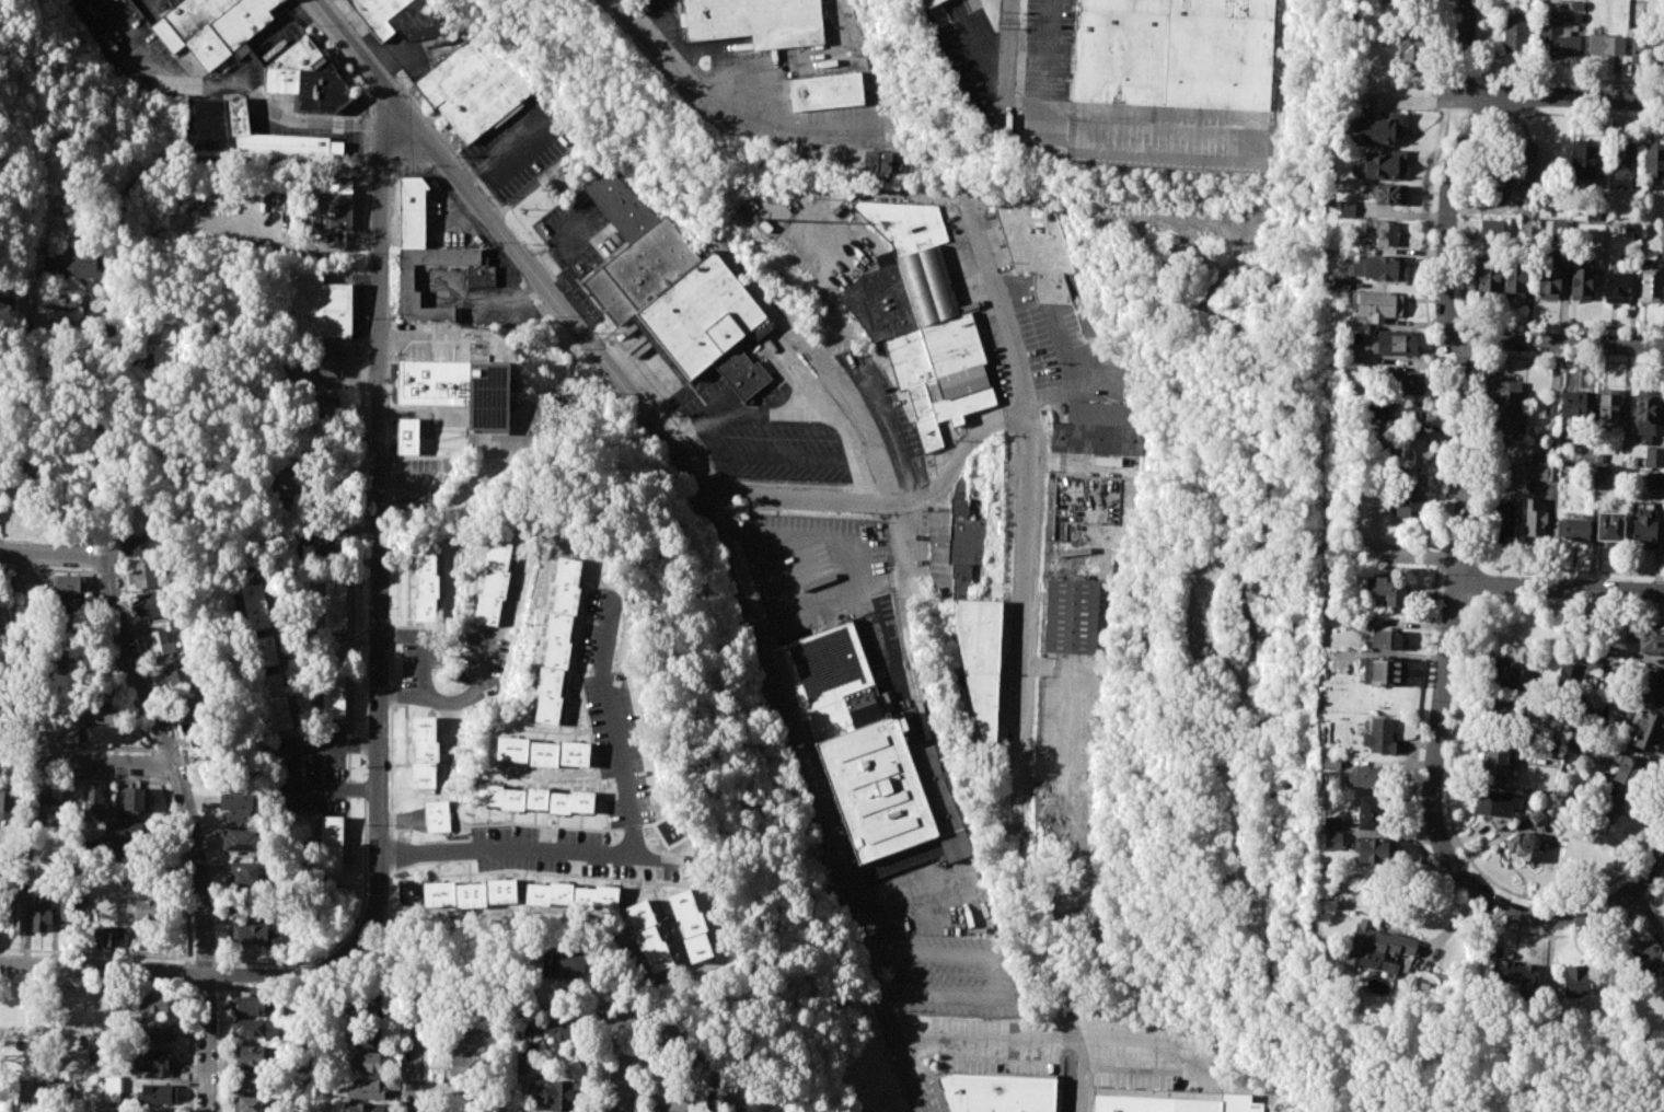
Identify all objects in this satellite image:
building: (934, 2)
building: (1578, 4)
building: (407, 18)
building: (1578, 18)
building: (758, 22)
building: (212, 26)
building: (1514, 32)
building: (1558, 38)
road: (1466, 43)
building: (1606, 44)
building: (1641, 44)
building: (1651, 47)
building: (1411, 50)
building: (1172, 51)
building: (1663, 59)
road: (1009, 63)
building: (307, 79)
road: (229, 83)
building: (473, 83)
building: (827, 92)
road: (1564, 99)
road: (1026, 101)
road: (1419, 101)
road: (1056, 111)
road: (728, 113)
road: (1481, 119)
building: (1376, 129)
building: (243, 131)
parking lot: (522, 146)
road: (510, 153)
building: (1584, 159)
building: (877, 160)
building: (1654, 160)
building: (1524, 163)
building: (1623, 163)
road: (251, 164)
building: (1384, 164)
building: (1495, 182)
road: (879, 190)
building: (1390, 195)
building: (332, 208)
building: (1347, 208)
building: (1523, 210)
building: (1595, 210)
road: (1402, 215)
building: (1491, 227)
building: (1387, 231)
road: (1463, 231)
building: (1631, 232)
building: (1661, 232)
building: (1037, 251)
building: (427, 253)
building: (71, 265)
building: (1380, 267)
building: (1488, 276)
building: (1514, 277)
road: (115, 278)
building: (1549, 279)
building: (1341, 282)
building: (1581, 283)
building: (1650, 285)
building: (1616, 287)
building: (675, 291)
building: (55, 302)
building: (1377, 304)
building: (319, 310)
building: (920, 320)
road: (1468, 320)
road: (1468, 339)
building: (1397, 343)
building: (163, 344)
road: (1557, 345)
road: (1479, 361)
building: (327, 368)
building: (1407, 382)
building: (461, 385)
building: (322, 404)
building: (1607, 404)
building: (1575, 405)
building: (1507, 407)
building: (1646, 412)
road: (796, 413)
building: (1407, 415)
road: (698, 422)
building: (1622, 428)
building: (1094, 429)
road: (707, 441)
building: (407, 455)
building: (1413, 455)
building: (1654, 456)
road: (785, 459)
building: (1636, 461)
road: (1483, 463)
road: (380, 472)
building: (1540, 472)
building: (1597, 476)
road: (860, 479)
building: (1654, 480)
building: (288, 485)
road: (881, 502)
building: (1410, 506)
road: (701, 509)
road: (1029, 513)
building: (1534, 518)
building: (1502, 520)
building: (1610, 526)
building: (1573, 528)
building: (1644, 531)
road: (1593, 538)
building: (1663, 541)
road: (1660, 544)
building: (142, 545)
building: (955, 546)
building: (317, 547)
road: (1318, 551)
road: (53, 557)
road: (1419, 557)
road: (1475, 558)
road: (1455, 565)
building: (145, 575)
building: (494, 582)
road: (1467, 582)
building: (24, 583)
building: (67, 584)
building: (426, 586)
road: (1560, 589)
building: (1389, 591)
building: (255, 600)
building: (335, 603)
road: (1560, 603)
building: (150, 604)
building: (69, 606)
building: (1072, 615)
building: (176, 625)
road: (1451, 630)
building: (1651, 638)
building: (558, 639)
building: (1387, 641)
building: (161, 644)
road: (425, 647)
building: (266, 650)
road: (1390, 655)
road: (1637, 655)
building: (981, 660)
building: (62, 663)
building: (1383, 671)
building: (177, 672)
building: (1505, 672)
building: (1572, 672)
building: (1651, 686)
building: (335, 690)
building: (96, 694)
building: (277, 702)
road: (454, 702)
building: (5, 713)
building: (99, 715)
building: (1500, 717)
building: (1584, 719)
building: (1650, 731)
building: (101, 734)
building: (1383, 737)
building: (1575, 741)
road: (1225, 746)
building: (1552, 750)
building: (425, 751)
building: (542, 752)
building: (873, 758)
road: (88, 763)
building: (1494, 763)
road: (291, 764)
building: (1630, 771)
building: (1364, 776)
building: (1564, 797)
building: (533, 799)
building: (94, 801)
building: (136, 801)
building: (1498, 802)
building: (238, 804)
building: (1605, 804)
building: (5, 806)
building: (43, 807)
building: (1372, 811)
building: (438, 815)
building: (1538, 815)
building: (1332, 822)
road: (189, 829)
building: (126, 833)
building: (241, 841)
building: (1333, 841)
building: (332, 844)
building: (1524, 846)
building: (1375, 849)
road: (1425, 853)
road: (634, 855)
road: (1467, 856)
road: (652, 857)
building: (26, 871)
building: (250, 874)
road: (902, 882)
building: (409, 893)
building: (471, 893)
building: (573, 895)
building: (70, 905)
building: (141, 910)
building: (43, 912)
road: (1648, 914)
building: (20, 917)
building: (692, 925)
road: (345, 933)
building: (109, 935)
building: (255, 935)
building: (648, 937)
building: (1374, 946)
road: (925, 950)
building: (1649, 955)
building: (565, 966)
building: (1506, 973)
road: (994, 974)
road: (219, 975)
road: (229, 976)
building: (1576, 980)
road: (933, 993)
building: (154, 1003)
building: (250, 1005)
building: (366, 1010)
road: (571, 1017)
building: (561, 1026)
building: (252, 1028)
road: (1096, 1030)
building: (152, 1031)
building: (369, 1036)
building: (567, 1036)
building: (467, 1040)
road: (219, 1049)
road: (414, 1050)
road: (401, 1051)
building: (254, 1055)
building: (155, 1062)
building: (369, 1062)
road: (621, 1065)
building: (466, 1067)
road: (1079, 1073)
building: (254, 1080)
building: (112, 1089)
building: (367, 1090)
road: (1360, 1090)
building: (1001, 1092)
building: (45, 1093)
building: (157, 1094)
building: (555, 1094)
building: (689, 1098)
building: (1170, 1101)
building: (249, 1104)
building: (365, 1108)

